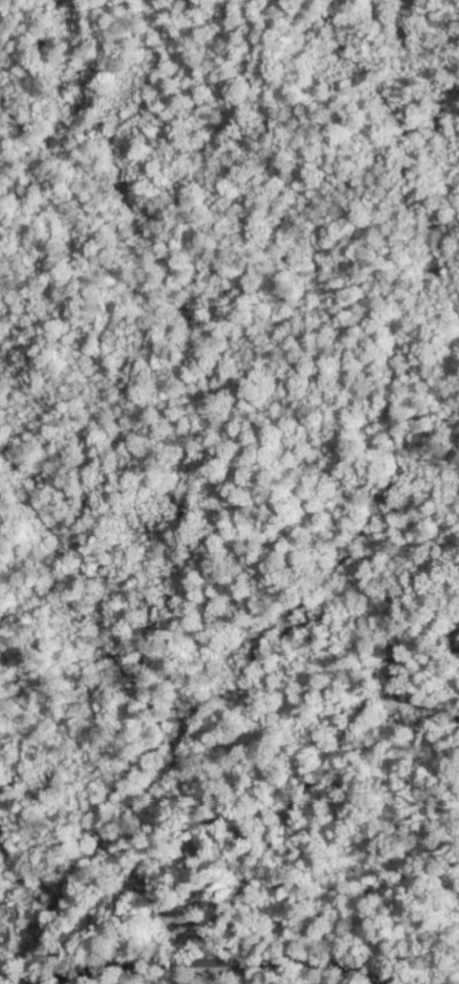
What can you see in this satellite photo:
road: (236, 958)

